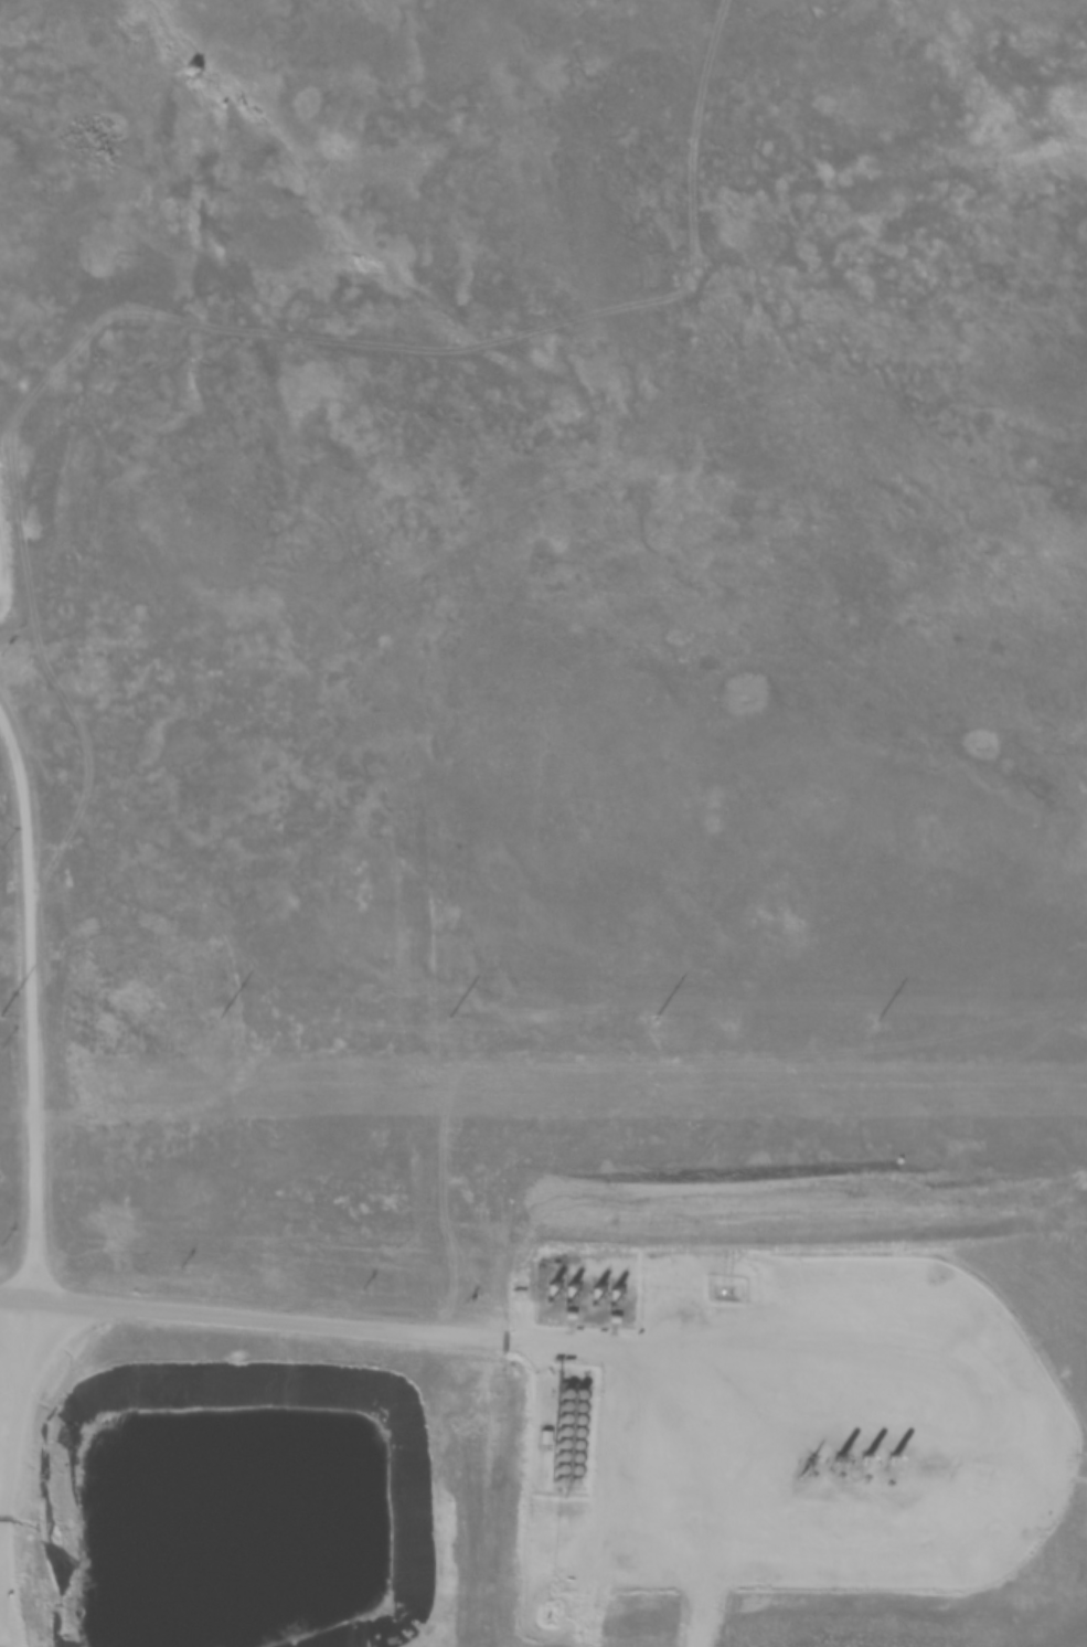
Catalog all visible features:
road: (33, 1008)
road: (473, 1347)

